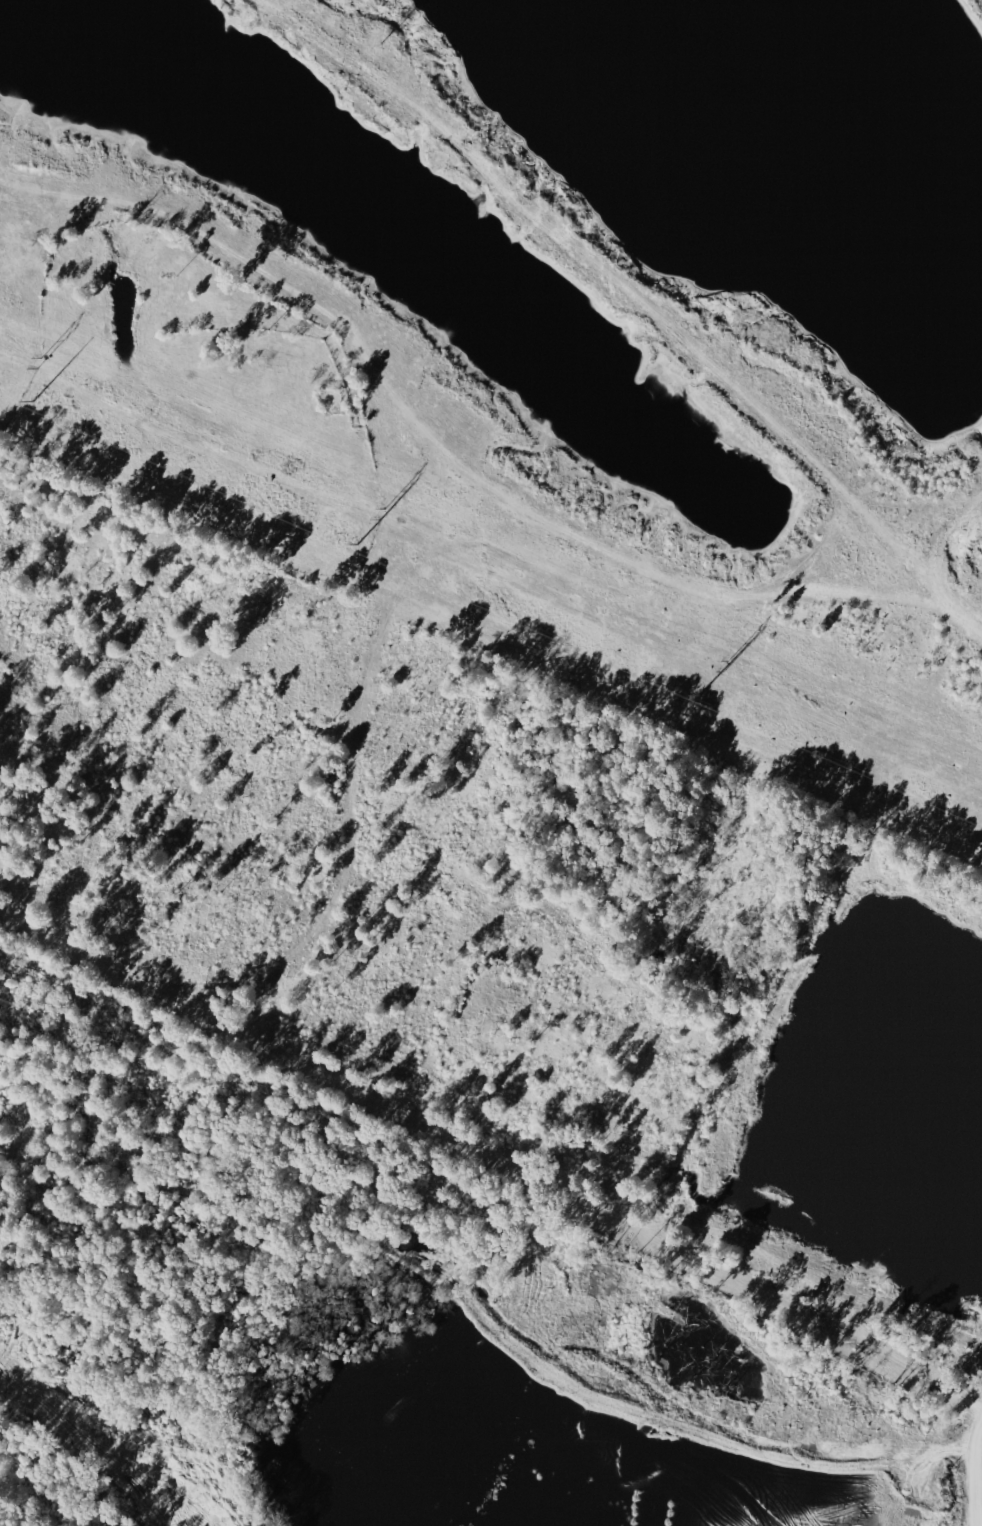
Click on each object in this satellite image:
power tower: (38, 364)
power tower: (381, 515)
road: (930, 562)
power tower: (725, 667)
road: (979, 1481)

